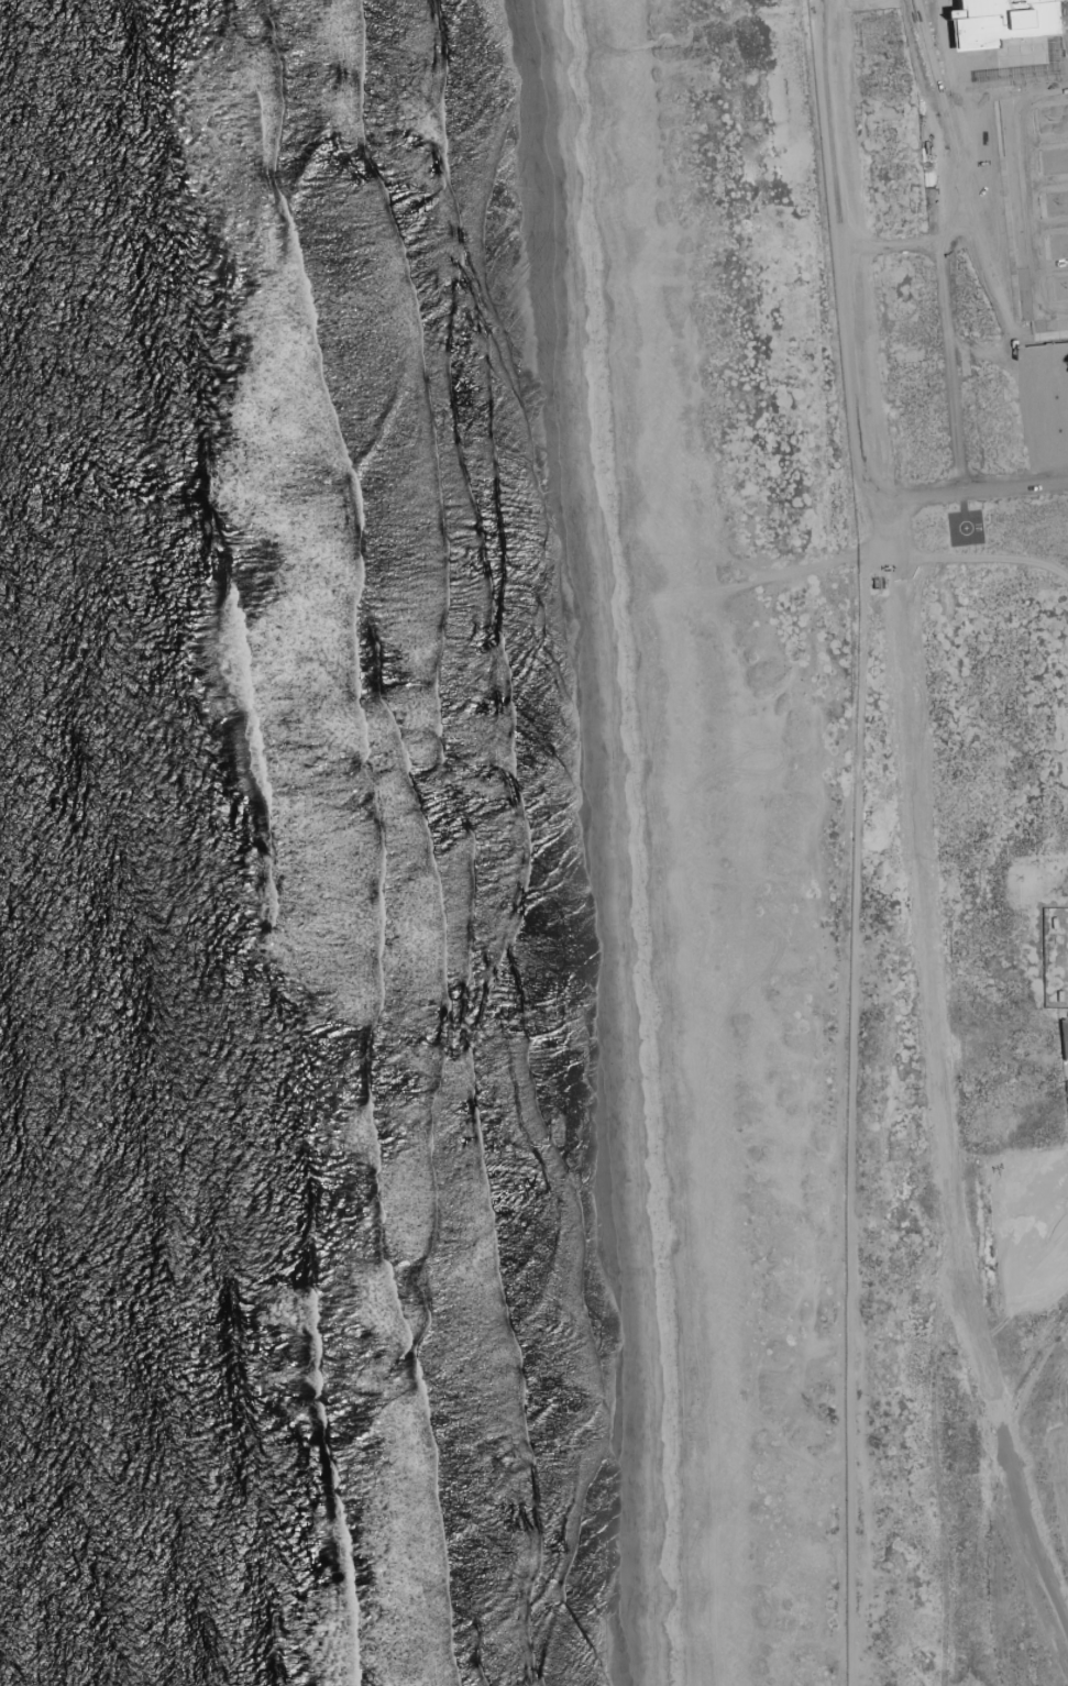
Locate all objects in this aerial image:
road: (839, 254)
road: (978, 486)

